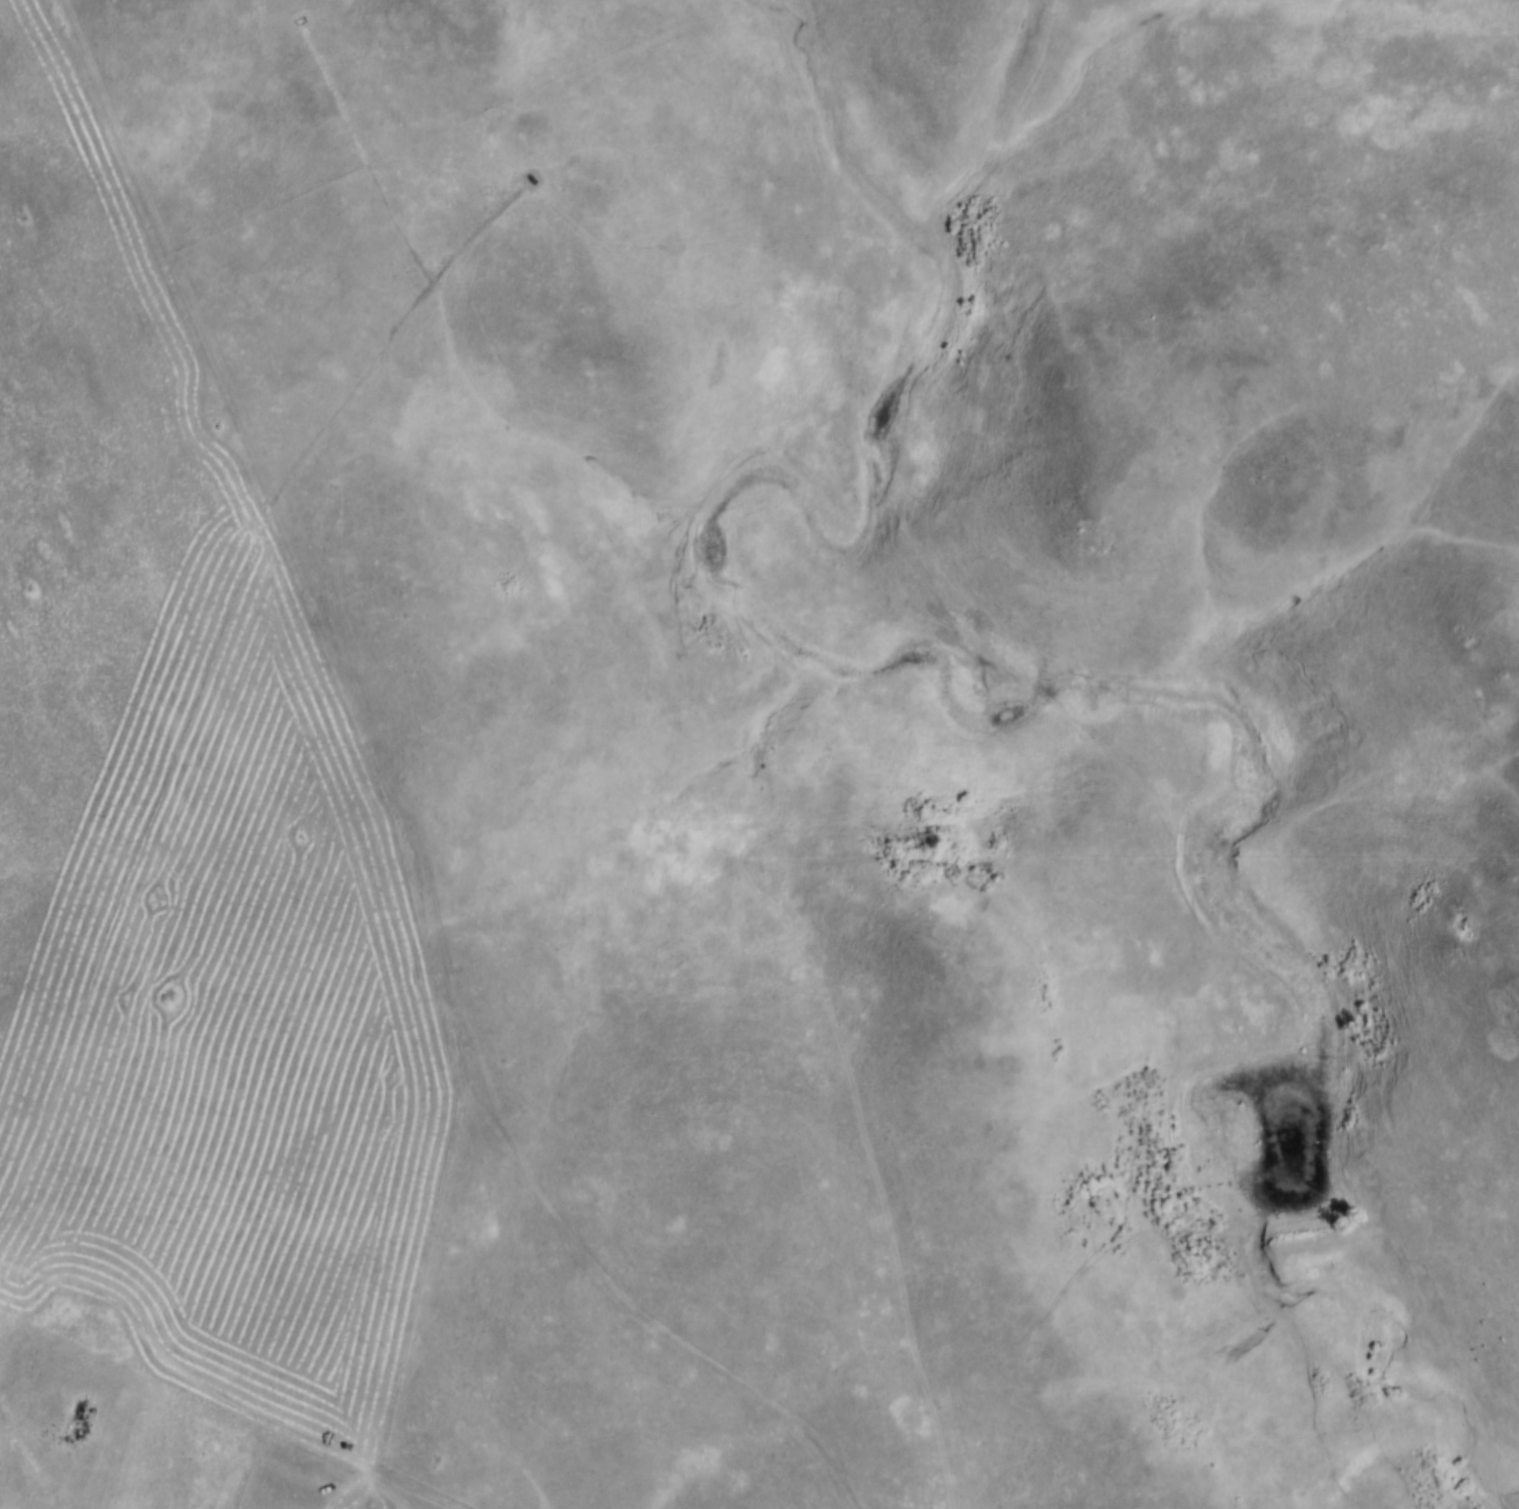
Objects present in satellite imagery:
road: (219, 1394)

